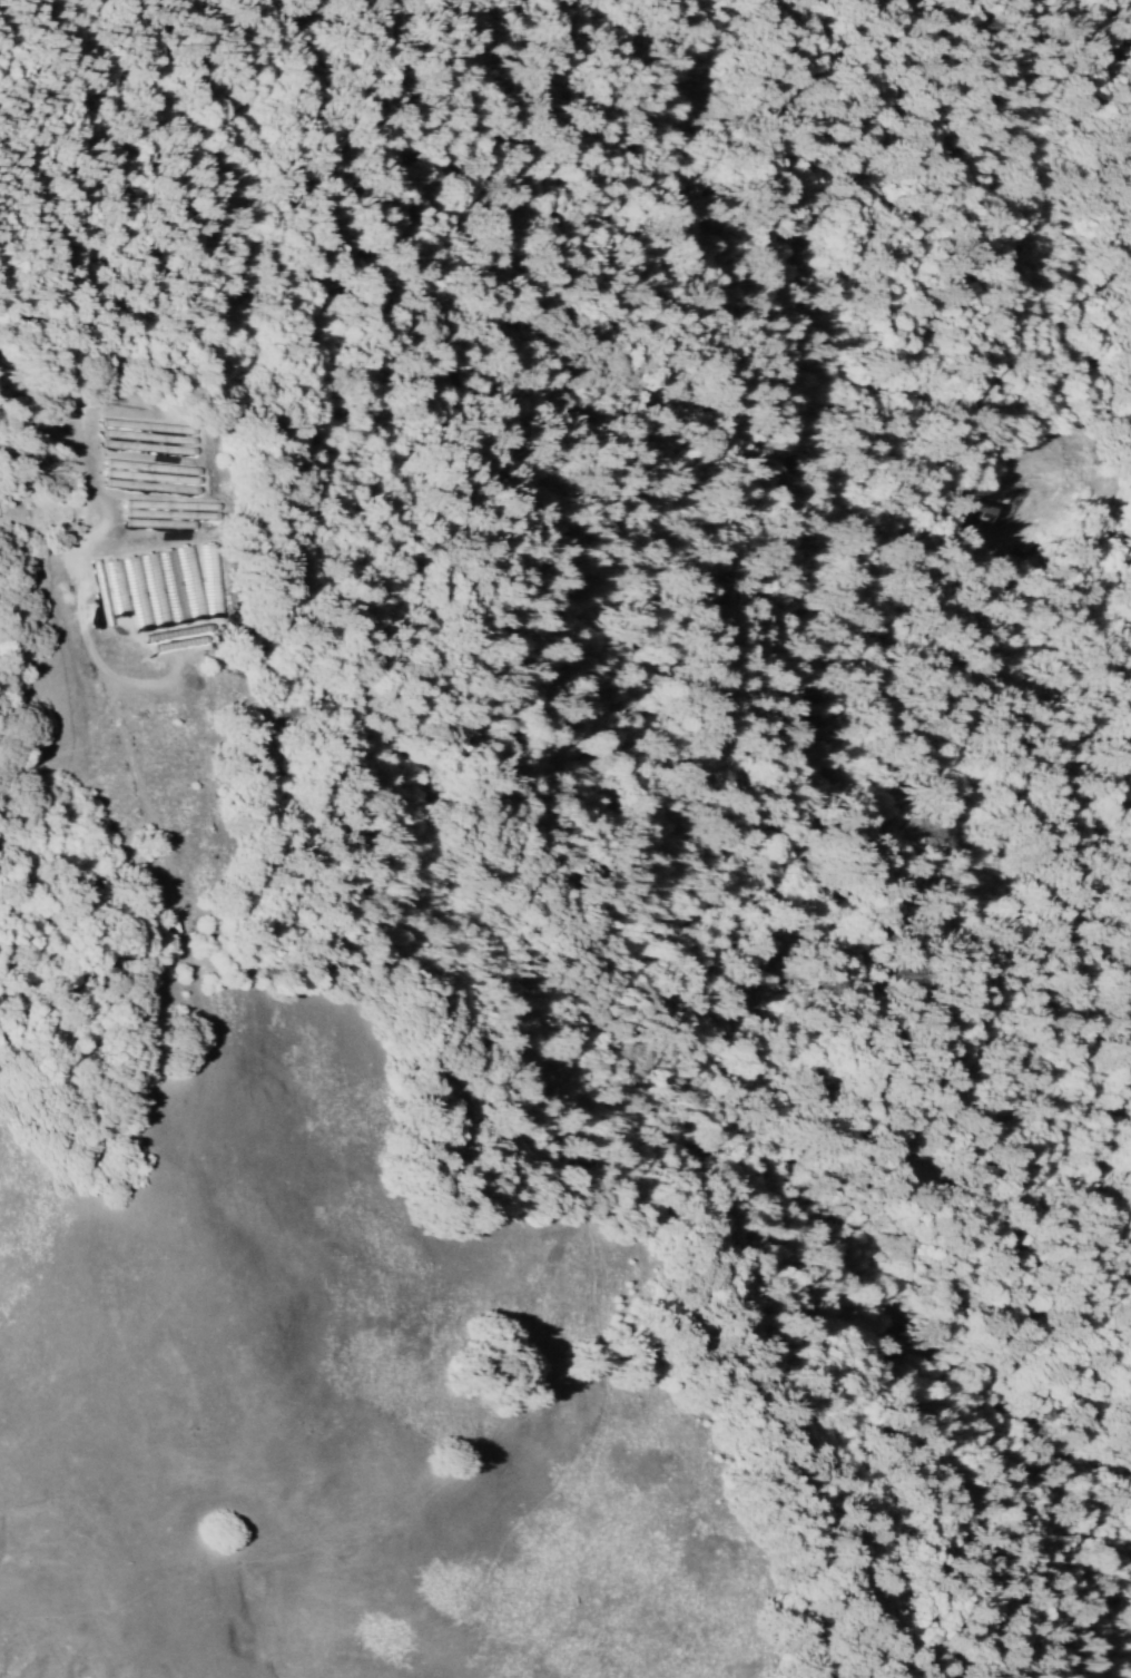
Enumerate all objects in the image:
road: (818, 645)

